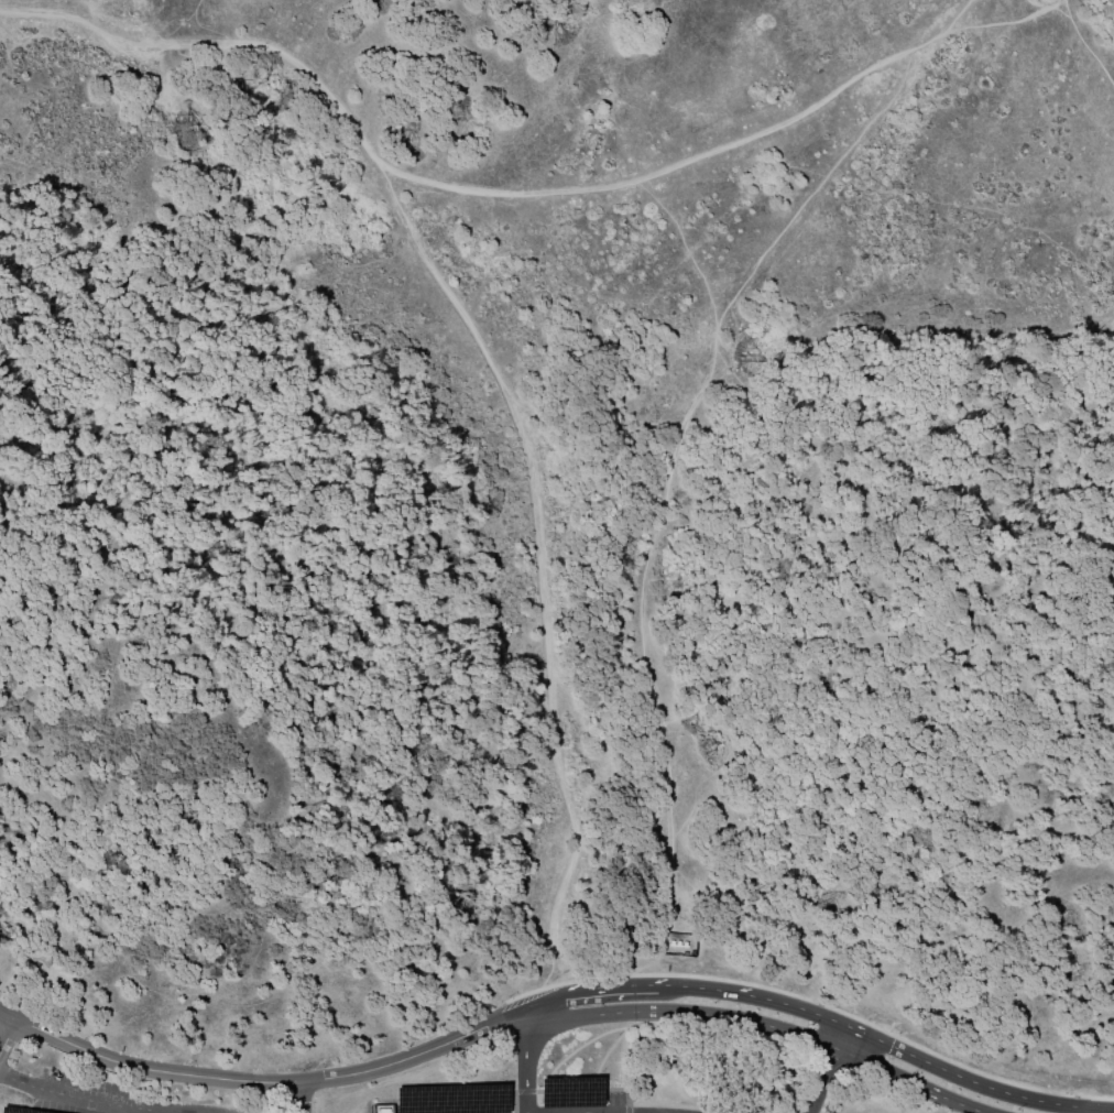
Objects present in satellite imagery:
road: (1005, 24)
road: (1086, 46)
road: (480, 192)
road: (671, 483)
road: (537, 568)
road: (673, 985)
road: (590, 991)
road: (766, 1000)
road: (684, 1013)
road: (491, 1024)
road: (6, 1029)
road: (866, 1036)
road: (839, 1037)
road: (527, 1063)
parking lot: (42, 1074)
road: (225, 1080)
road: (822, 1081)
road: (907, 1082)
road: (524, 1089)
road: (993, 1090)
road: (298, 1098)
road: (636, 1100)
road: (513, 1101)
road: (627, 1101)
road: (114, 1102)
parking lot: (604, 1103)
road: (627, 1107)
road: (1108, 1110)
road: (1102, 1111)
road: (613, 1112)

